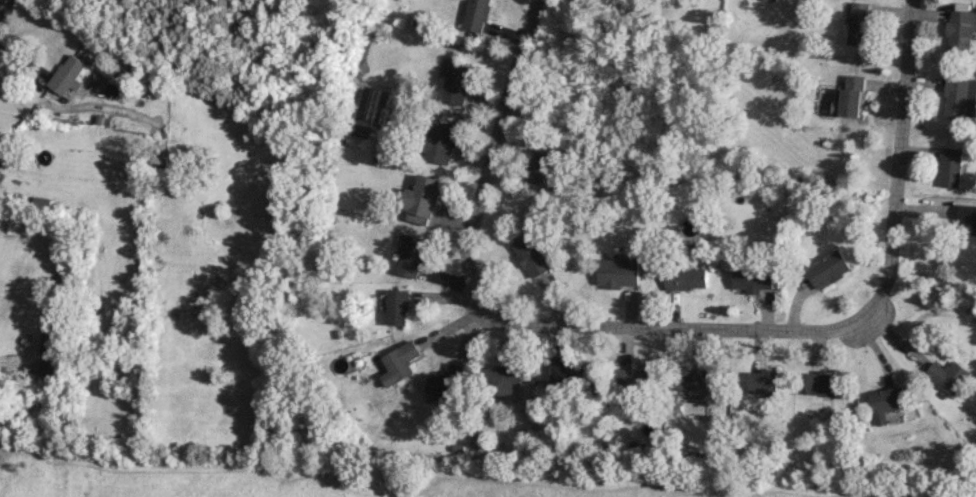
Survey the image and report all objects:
road: (0, 0)
building: (477, 15)
building: (859, 23)
building: (961, 29)
building: (67, 76)
building: (457, 84)
building: (853, 96)
building: (958, 99)
road: (488, 139)
building: (437, 142)
road: (900, 151)
building: (3, 157)
building: (543, 167)
building: (950, 168)
building: (421, 200)
building: (967, 221)
building: (532, 255)
building: (411, 256)
building: (829, 269)
building: (618, 273)
building: (686, 278)
building: (754, 279)
building: (398, 307)
road: (670, 331)
building: (54, 356)
building: (399, 363)
building: (566, 373)
building: (950, 375)
building: (634, 377)
building: (504, 379)
building: (692, 379)
building: (446, 382)
building: (822, 382)
building: (765, 383)
building: (889, 399)

